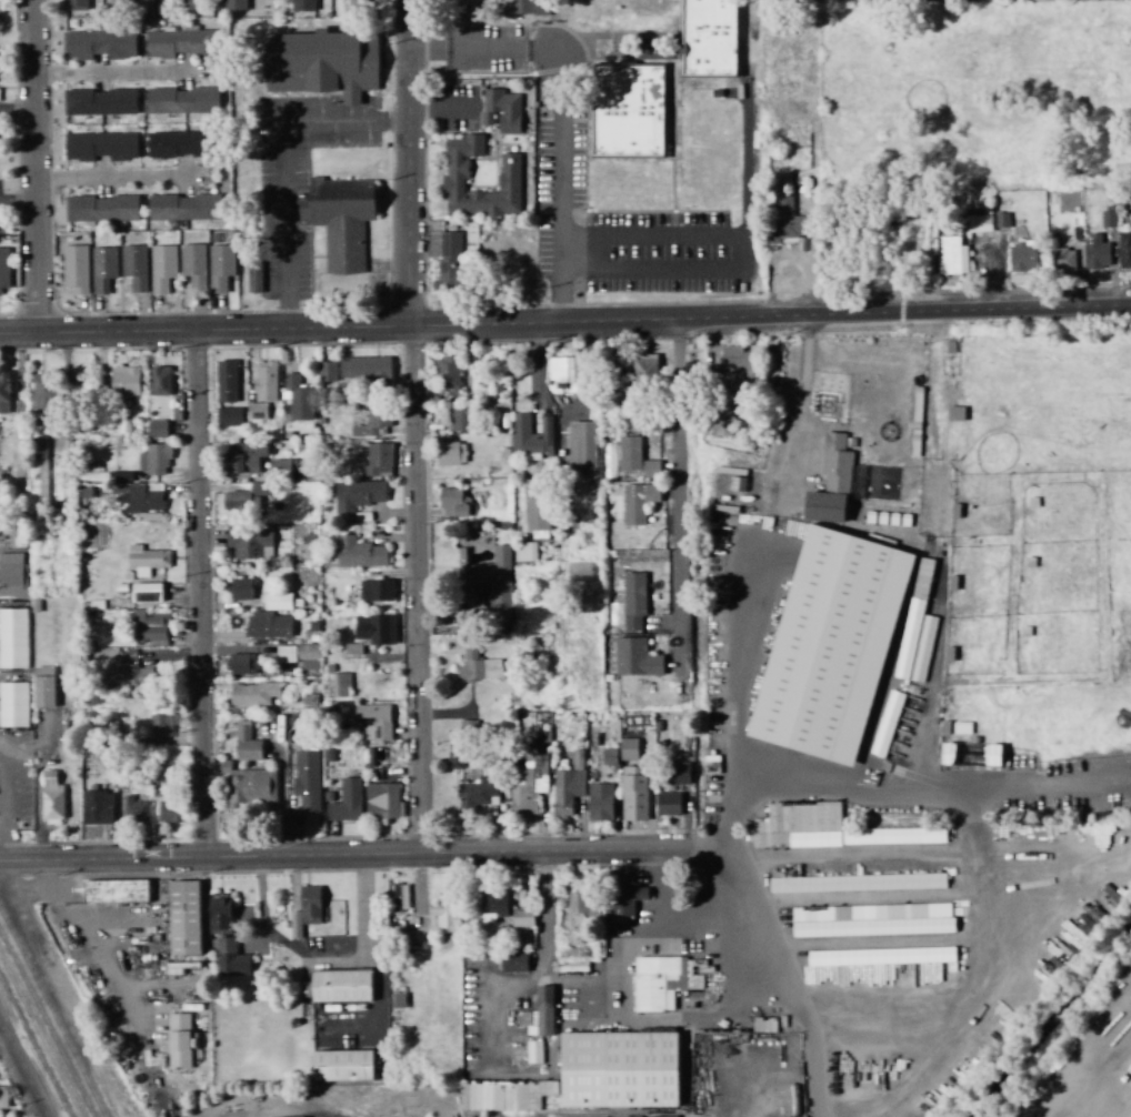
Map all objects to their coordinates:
building: (347, 0)
building: (76, 4)
building: (121, 4)
building: (189, 4)
building: (236, 4)
building: (302, 8)
building: (710, 38)
building: (179, 42)
building: (99, 44)
road: (431, 49)
road: (490, 49)
building: (321, 63)
building: (182, 100)
building: (100, 102)
building: (502, 111)
building: (628, 111)
road: (281, 143)
building: (181, 144)
building: (101, 145)
road: (410, 164)
road: (34, 168)
building: (457, 168)
road: (554, 173)
building: (184, 207)
building: (102, 209)
building: (340, 220)
building: (787, 220)
building: (1002, 220)
building: (980, 223)
road: (651, 233)
building: (1097, 252)
building: (952, 256)
building: (1022, 256)
building: (1064, 260)
building: (450, 262)
building: (193, 265)
building: (134, 266)
building: (162, 268)
building: (220, 268)
building: (76, 269)
building: (103, 269)
road: (740, 269)
building: (4, 271)
building: (254, 279)
road: (769, 316)
road: (203, 332)
building: (645, 368)
building: (737, 368)
building: (364, 370)
building: (563, 370)
building: (327, 372)
building: (448, 376)
building: (124, 381)
building: (160, 381)
building: (226, 382)
building: (264, 382)
building: (4, 393)
building: (44, 395)
building: (298, 398)
building: (257, 412)
building: (229, 416)
building: (461, 419)
building: (373, 421)
building: (157, 429)
building: (526, 437)
building: (582, 446)
building: (629, 453)
building: (451, 454)
building: (379, 459)
building: (154, 460)
building: (837, 464)
building: (286, 470)
building: (651, 470)
building: (38, 471)
building: (120, 477)
building: (357, 496)
building: (251, 499)
road: (673, 500)
building: (638, 502)
building: (453, 504)
building: (538, 506)
building: (824, 507)
building: (731, 513)
building: (17, 534)
building: (250, 544)
building: (360, 553)
building: (146, 560)
building: (579, 572)
building: (12, 576)
building: (494, 580)
building: (239, 588)
building: (377, 591)
road: (419, 591)
building: (147, 593)
road: (200, 596)
building: (277, 601)
building: (633, 602)
building: (913, 618)
building: (268, 625)
building: (149, 628)
building: (374, 630)
building: (13, 638)
building: (839, 646)
building: (353, 648)
building: (923, 648)
building: (286, 654)
building: (308, 656)
building: (635, 658)
building: (244, 664)
building: (479, 667)
building: (130, 676)
building: (340, 685)
building: (43, 687)
building: (253, 694)
building: (13, 705)
building: (374, 721)
building: (160, 726)
building: (469, 728)
building: (247, 745)
building: (629, 749)
building: (949, 755)
building: (990, 756)
building: (454, 761)
building: (680, 774)
building: (307, 779)
building: (159, 786)
building: (250, 788)
building: (527, 791)
building: (567, 791)
building: (479, 793)
building: (633, 796)
building: (51, 798)
building: (347, 802)
building: (383, 802)
building: (600, 803)
building: (668, 804)
building: (97, 808)
building: (136, 811)
building: (169, 813)
building: (827, 828)
road: (350, 856)
building: (858, 883)
building: (116, 890)
building: (400, 896)
building: (625, 900)
building: (493, 905)
building: (307, 908)
building: (577, 910)
building: (444, 913)
building: (183, 917)
building: (522, 917)
building: (872, 919)
building: (226, 937)
building: (513, 960)
building: (662, 982)
building: (341, 985)
building: (1119, 1006)
railway: (50, 1016)
railway: (44, 1028)
railway: (38, 1040)
building: (180, 1040)
railway: (32, 1051)
building: (739, 1056)
building: (775, 1059)
building: (342, 1065)
road: (24, 1067)
building: (622, 1080)
building: (504, 1095)
building: (3, 1096)
building: (780, 1113)
building: (301, 1116)

